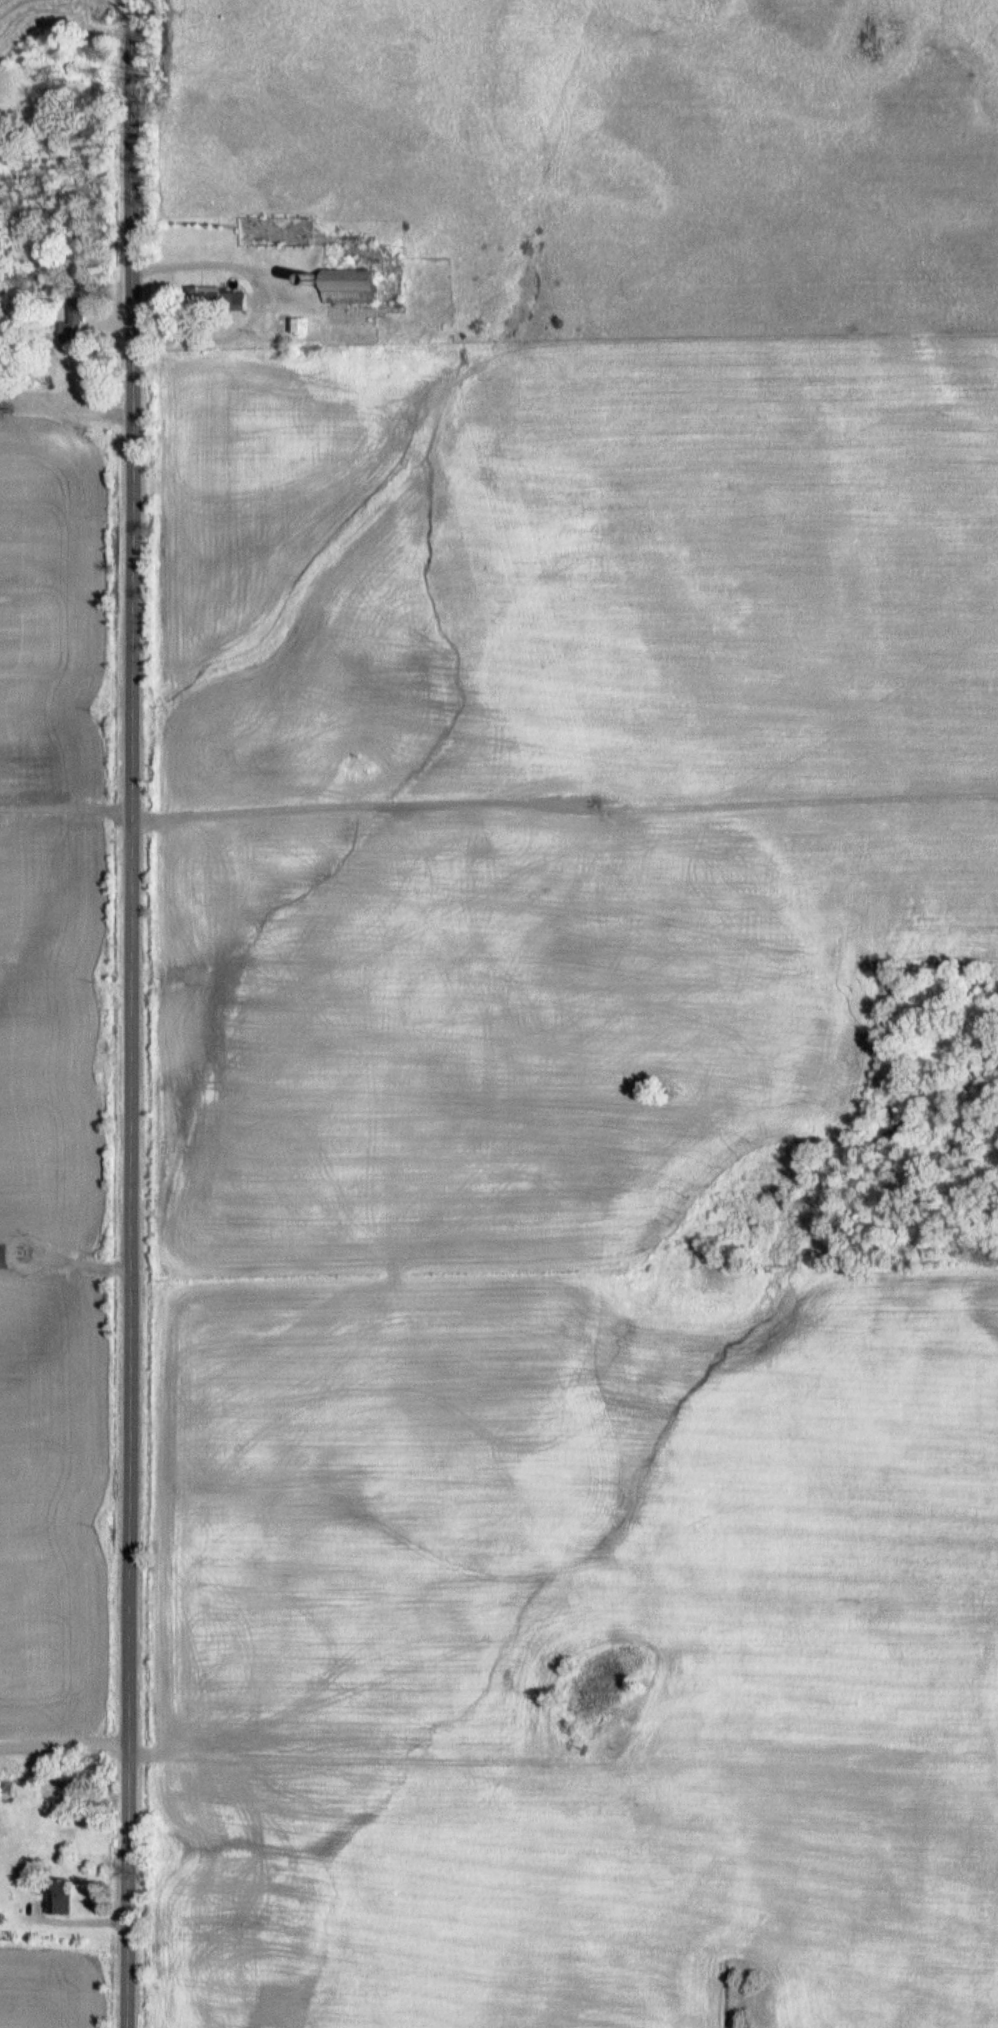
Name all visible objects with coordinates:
building: (360, 273)
building: (77, 323)
building: (288, 324)
road: (129, 1014)
building: (9, 1788)
building: (65, 1894)

